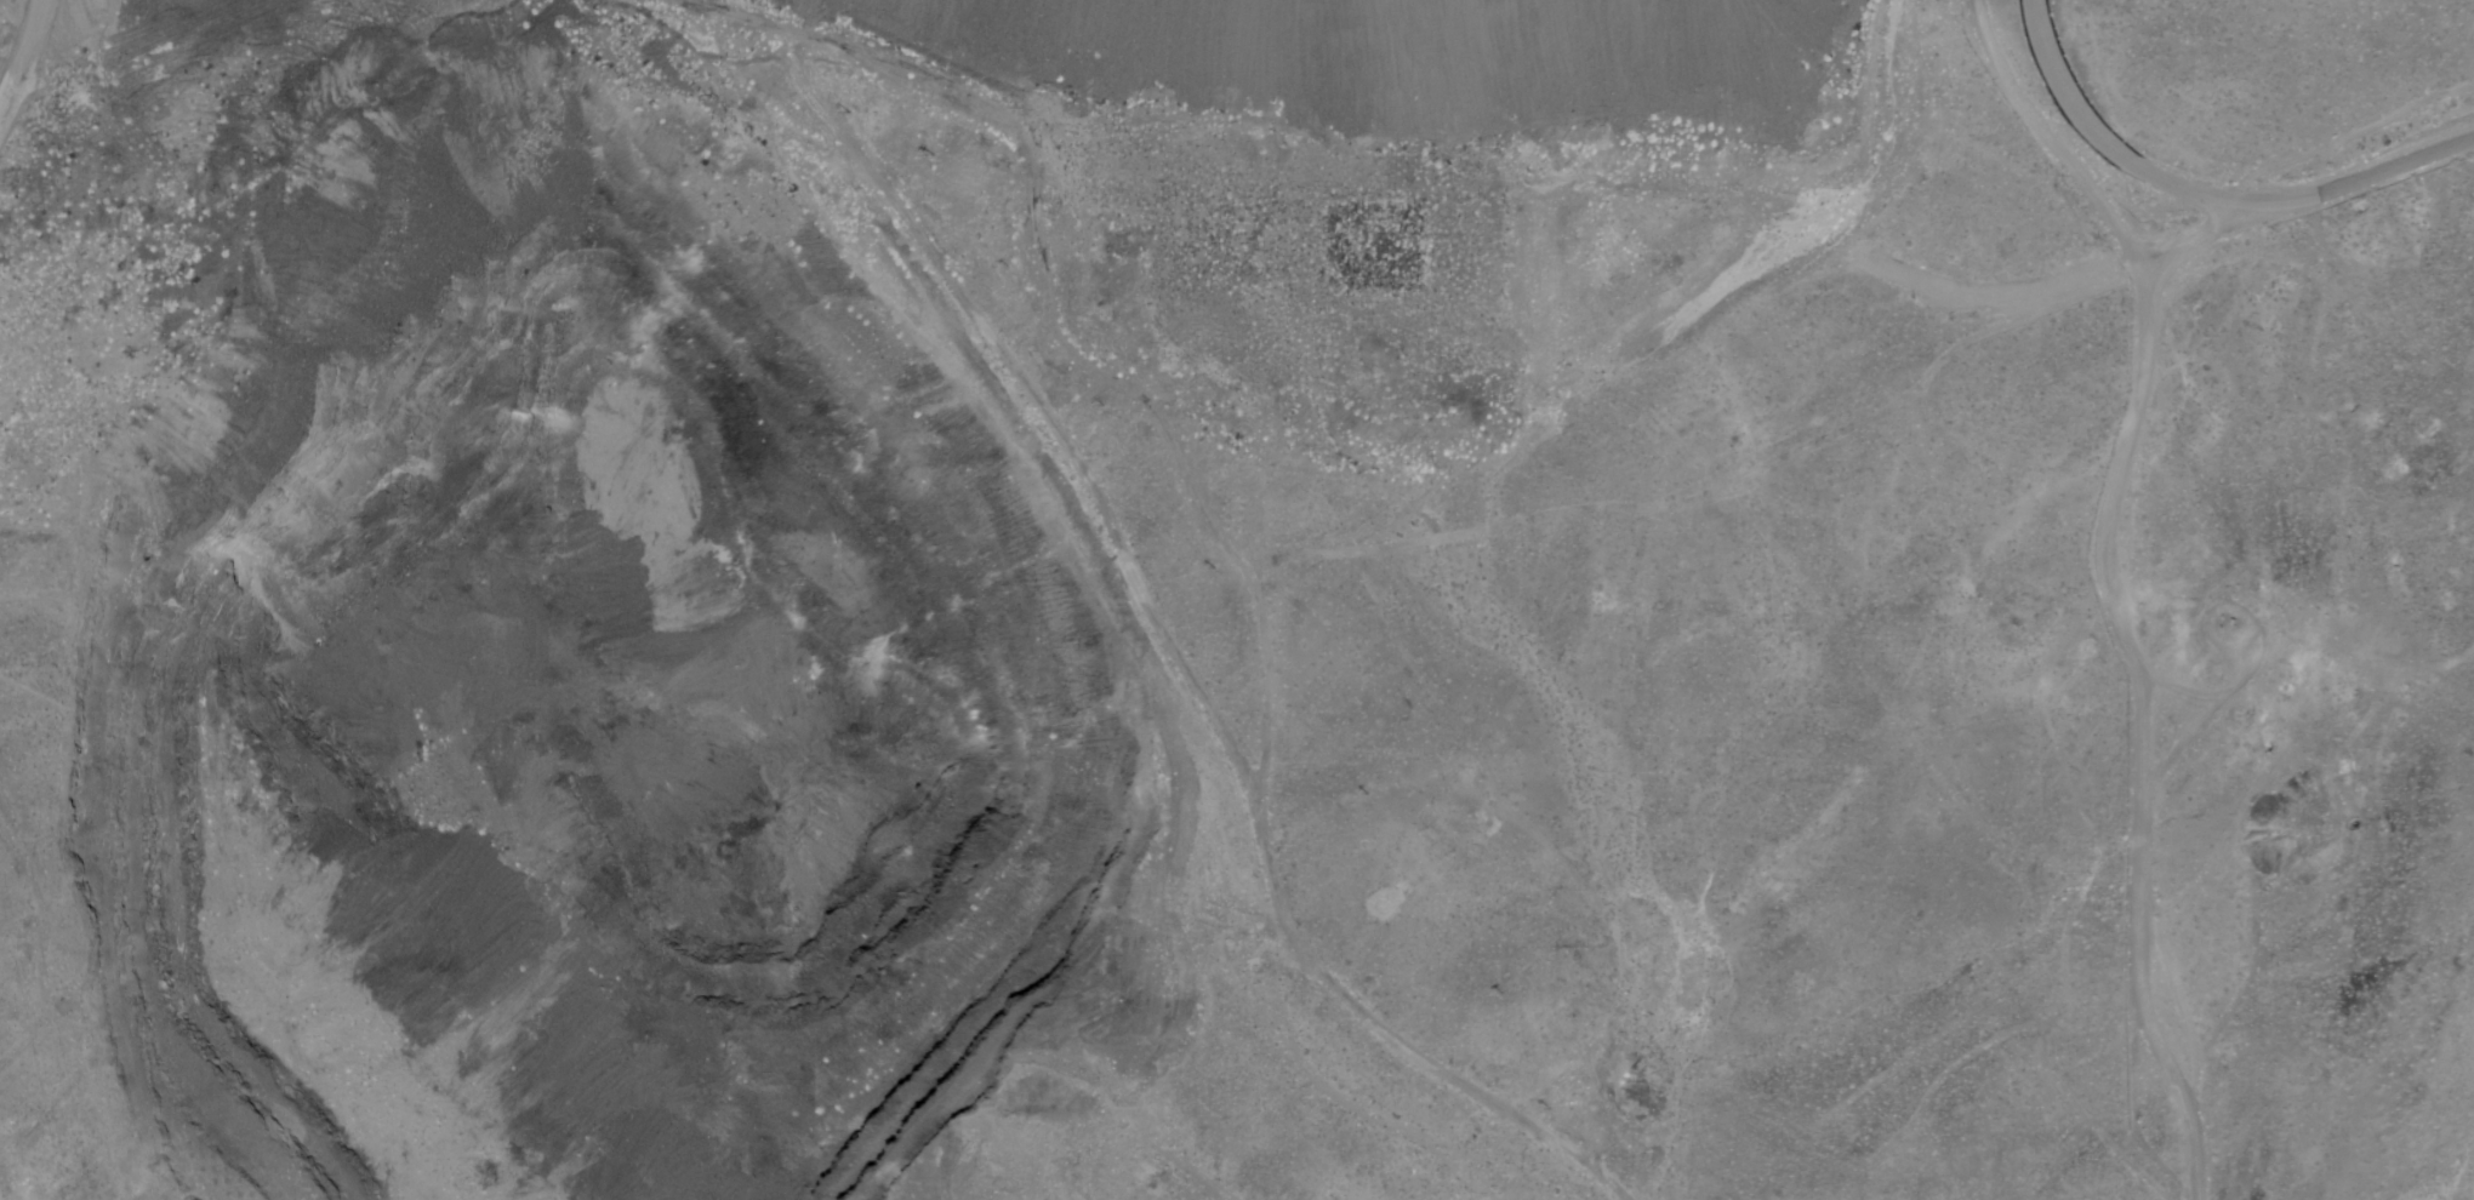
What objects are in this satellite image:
road: (2134, 164)
road: (2400, 167)
road: (2051, 282)
crop: (1706, 533)
road: (2104, 578)
road: (2244, 669)
road: (2166, 679)
power tower: (6, 722)

